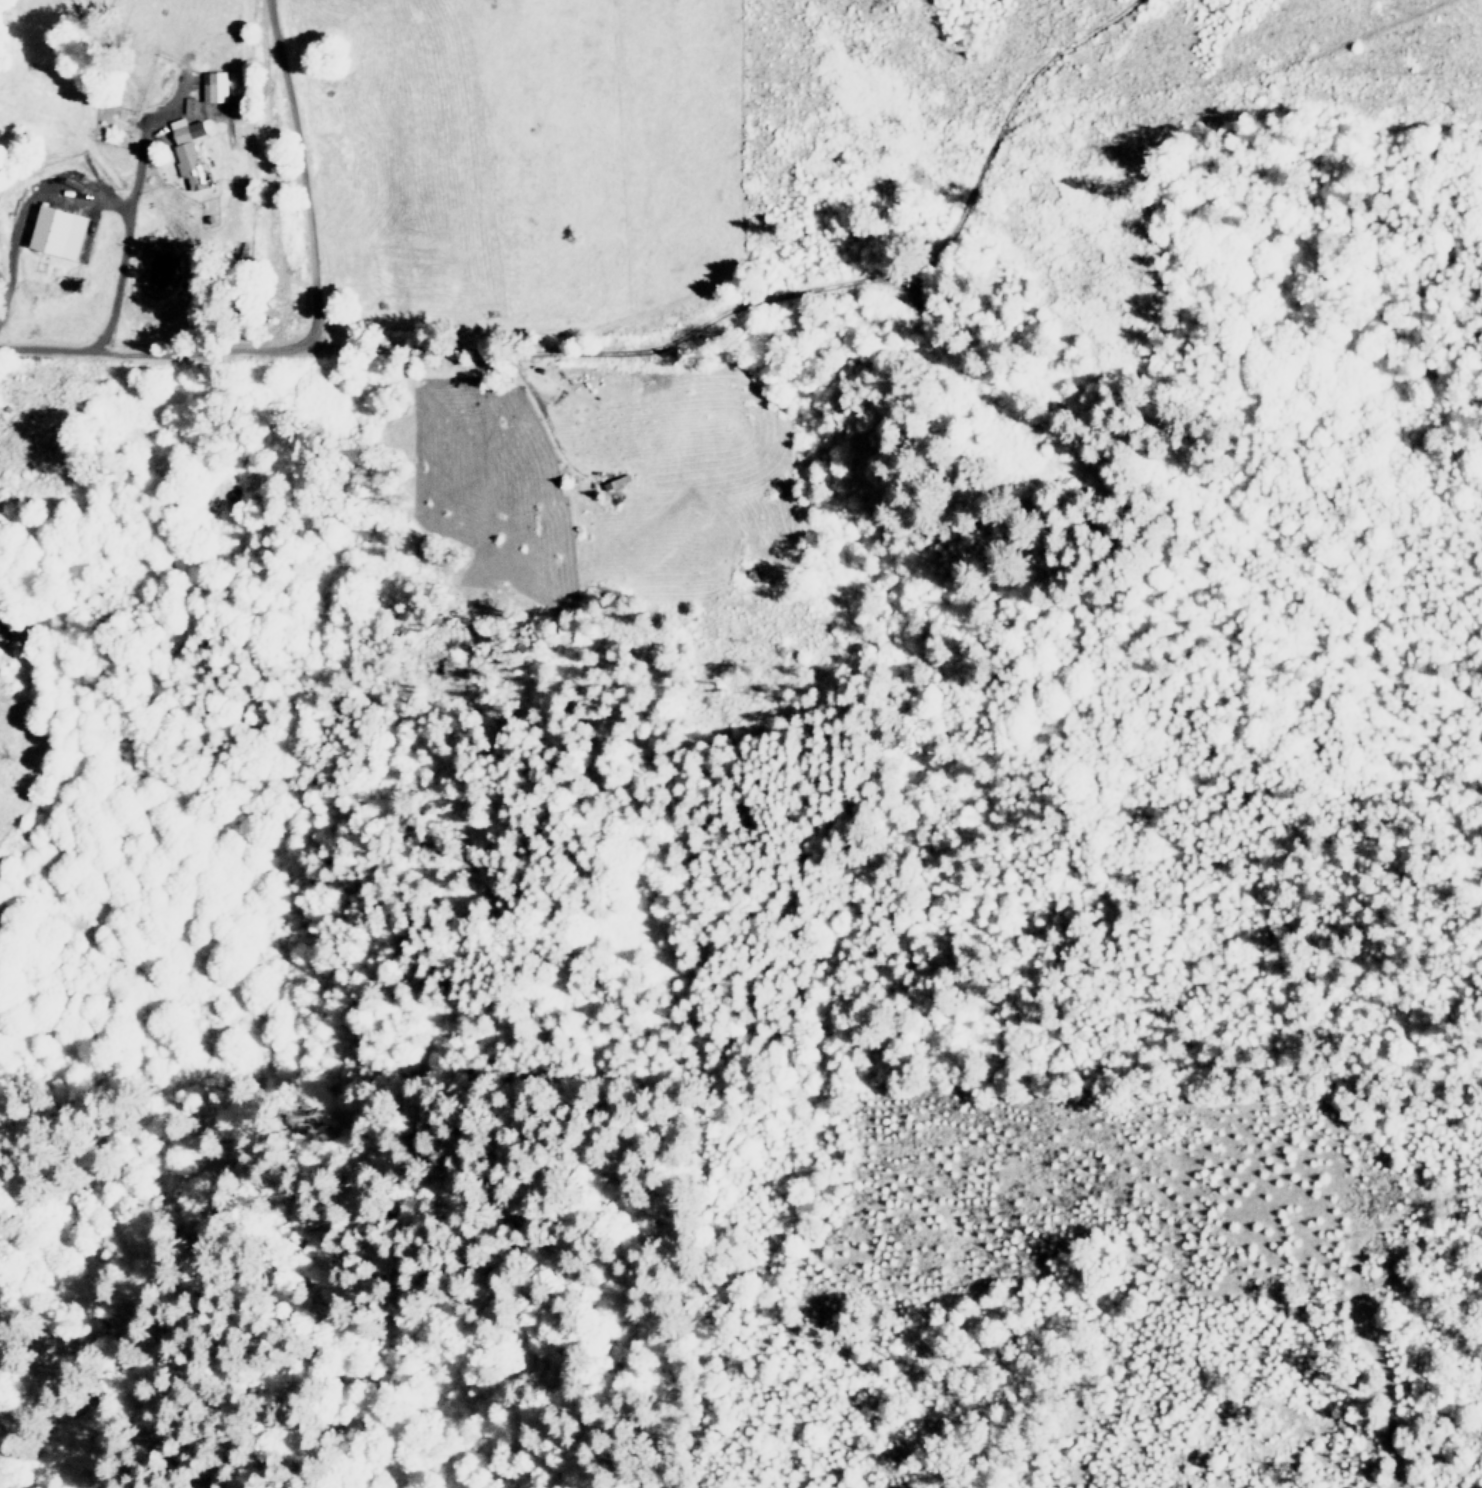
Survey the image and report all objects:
building: (217, 86)
building: (191, 150)
road: (306, 173)
road: (29, 200)
building: (64, 231)
road: (127, 237)
road: (466, 351)
road: (543, 411)

